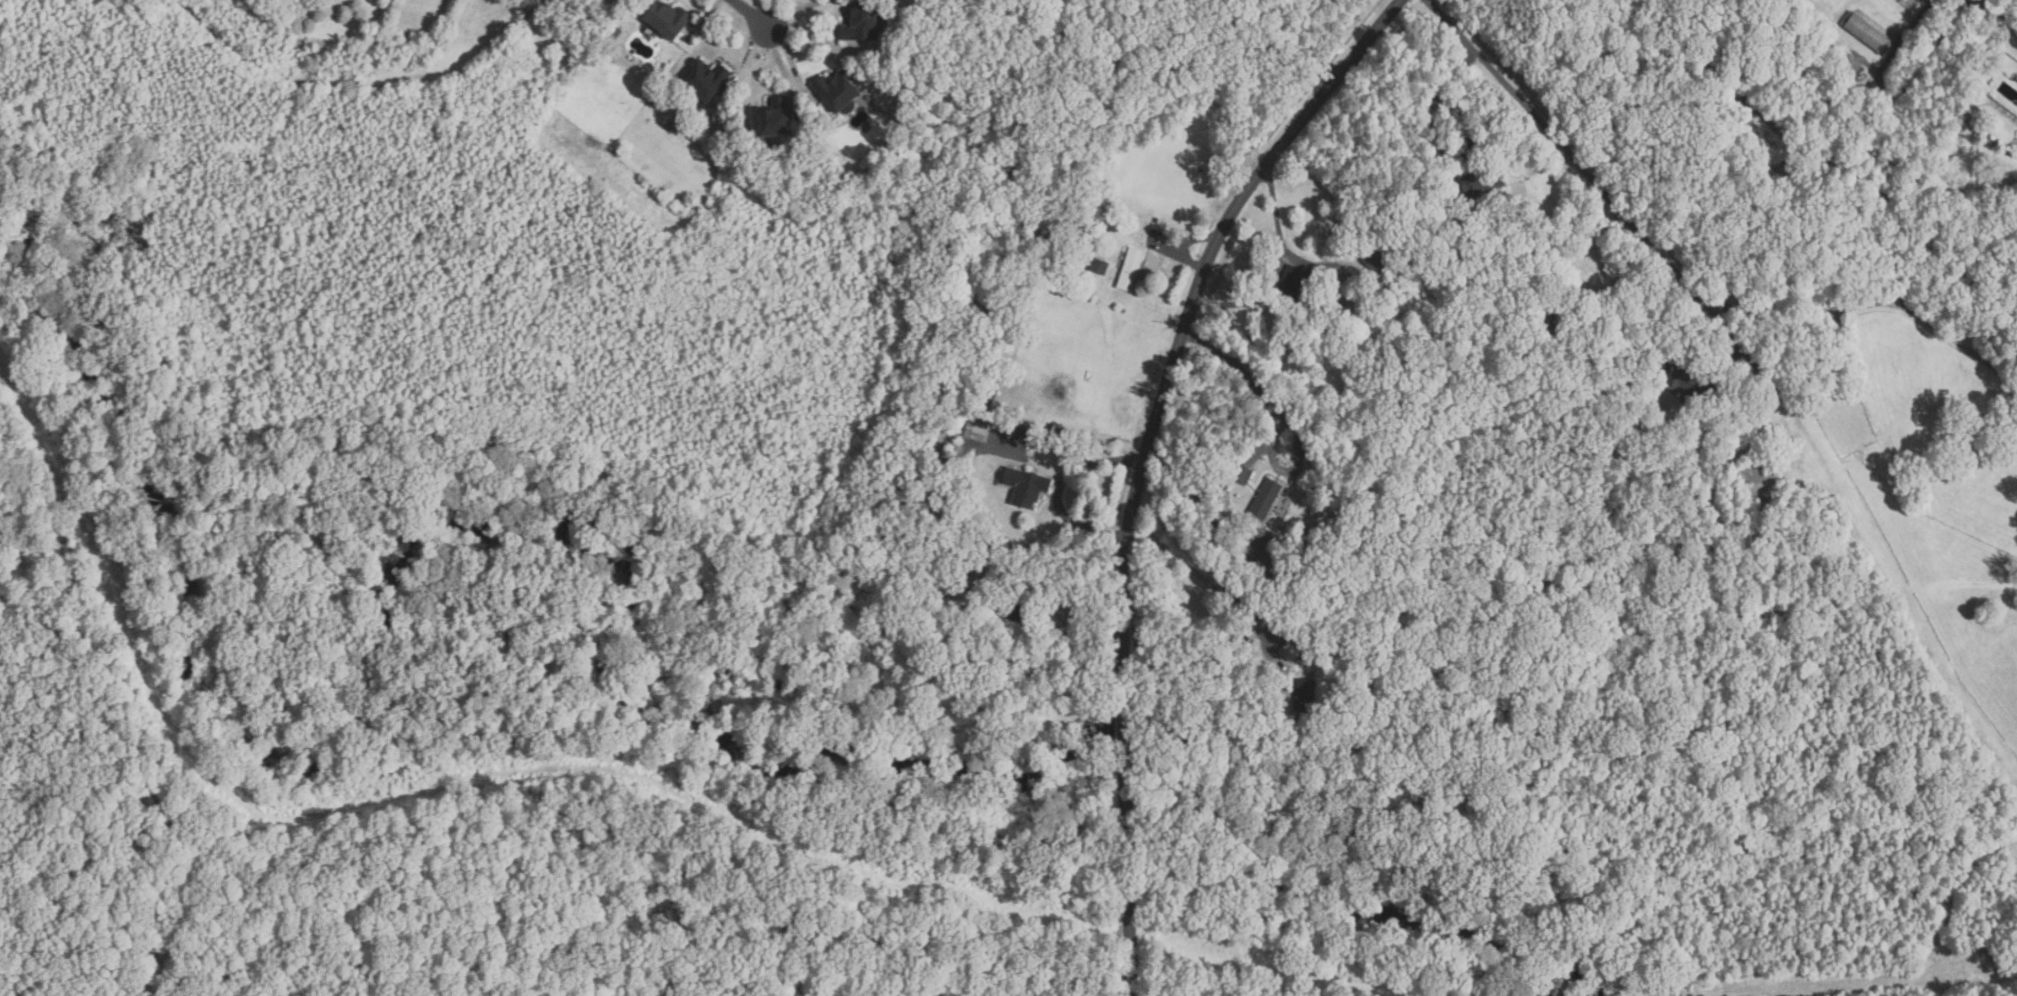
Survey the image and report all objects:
building: (1908, 4)
road: (751, 13)
road: (1996, 17)
building: (667, 21)
building: (866, 22)
building: (1863, 32)
road: (1290, 37)
building: (1845, 61)
building: (708, 81)
building: (839, 90)
building: (1961, 111)
building: (773, 120)
road: (1793, 144)
road: (1431, 146)
building: (1784, 169)
building: (1486, 178)
road: (1181, 255)
building: (1503, 255)
building: (1377, 256)
building: (1100, 266)
road: (1278, 267)
building: (1133, 269)
road: (1940, 273)
road: (1677, 275)
building: (1297, 285)
road: (1188, 316)
building: (1384, 358)
road: (1723, 362)
building: (1681, 374)
building: (1830, 387)
road: (1285, 413)
building: (977, 428)
river: (117, 431)
building: (1022, 435)
building: (1243, 475)
building: (1760, 483)
building: (1027, 487)
road: (1059, 487)
building: (1268, 499)
road: (1212, 530)
road: (1199, 574)
river: (670, 594)
river: (371, 626)
building: (1293, 652)
river: (609, 656)
building: (1305, 657)
river: (171, 660)
river: (710, 662)
building: (1302, 664)
river: (693, 682)
building: (1306, 696)
road: (1125, 719)
river: (1162, 738)
road: (1129, 870)

